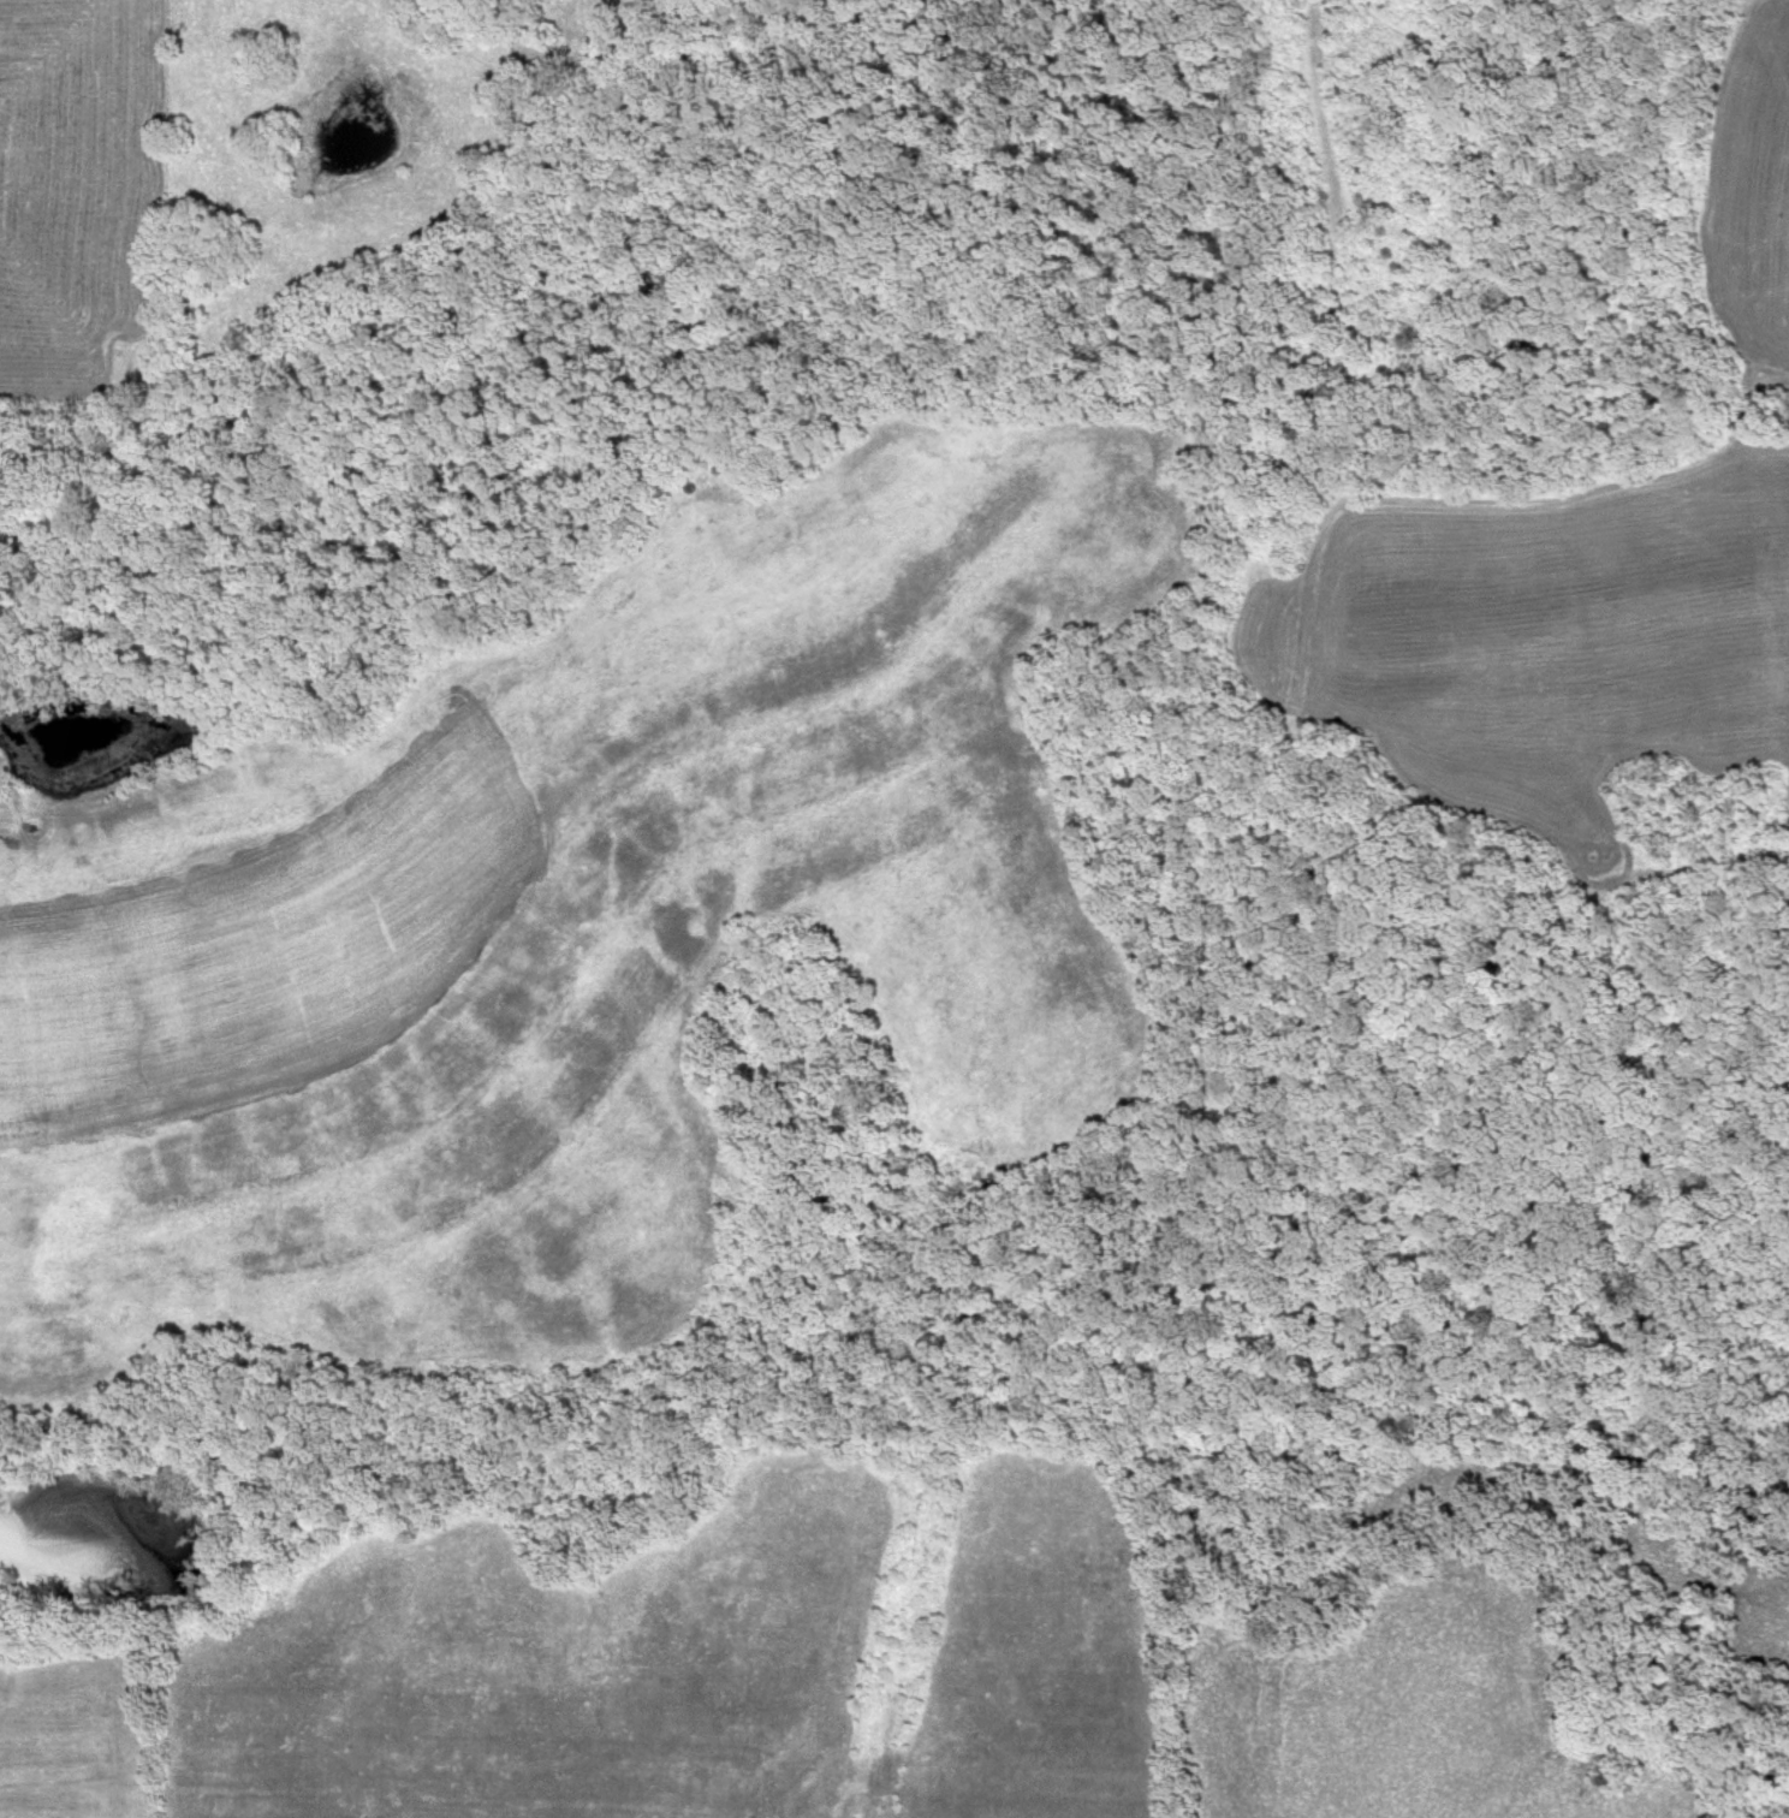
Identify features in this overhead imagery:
road: (1325, 816)

